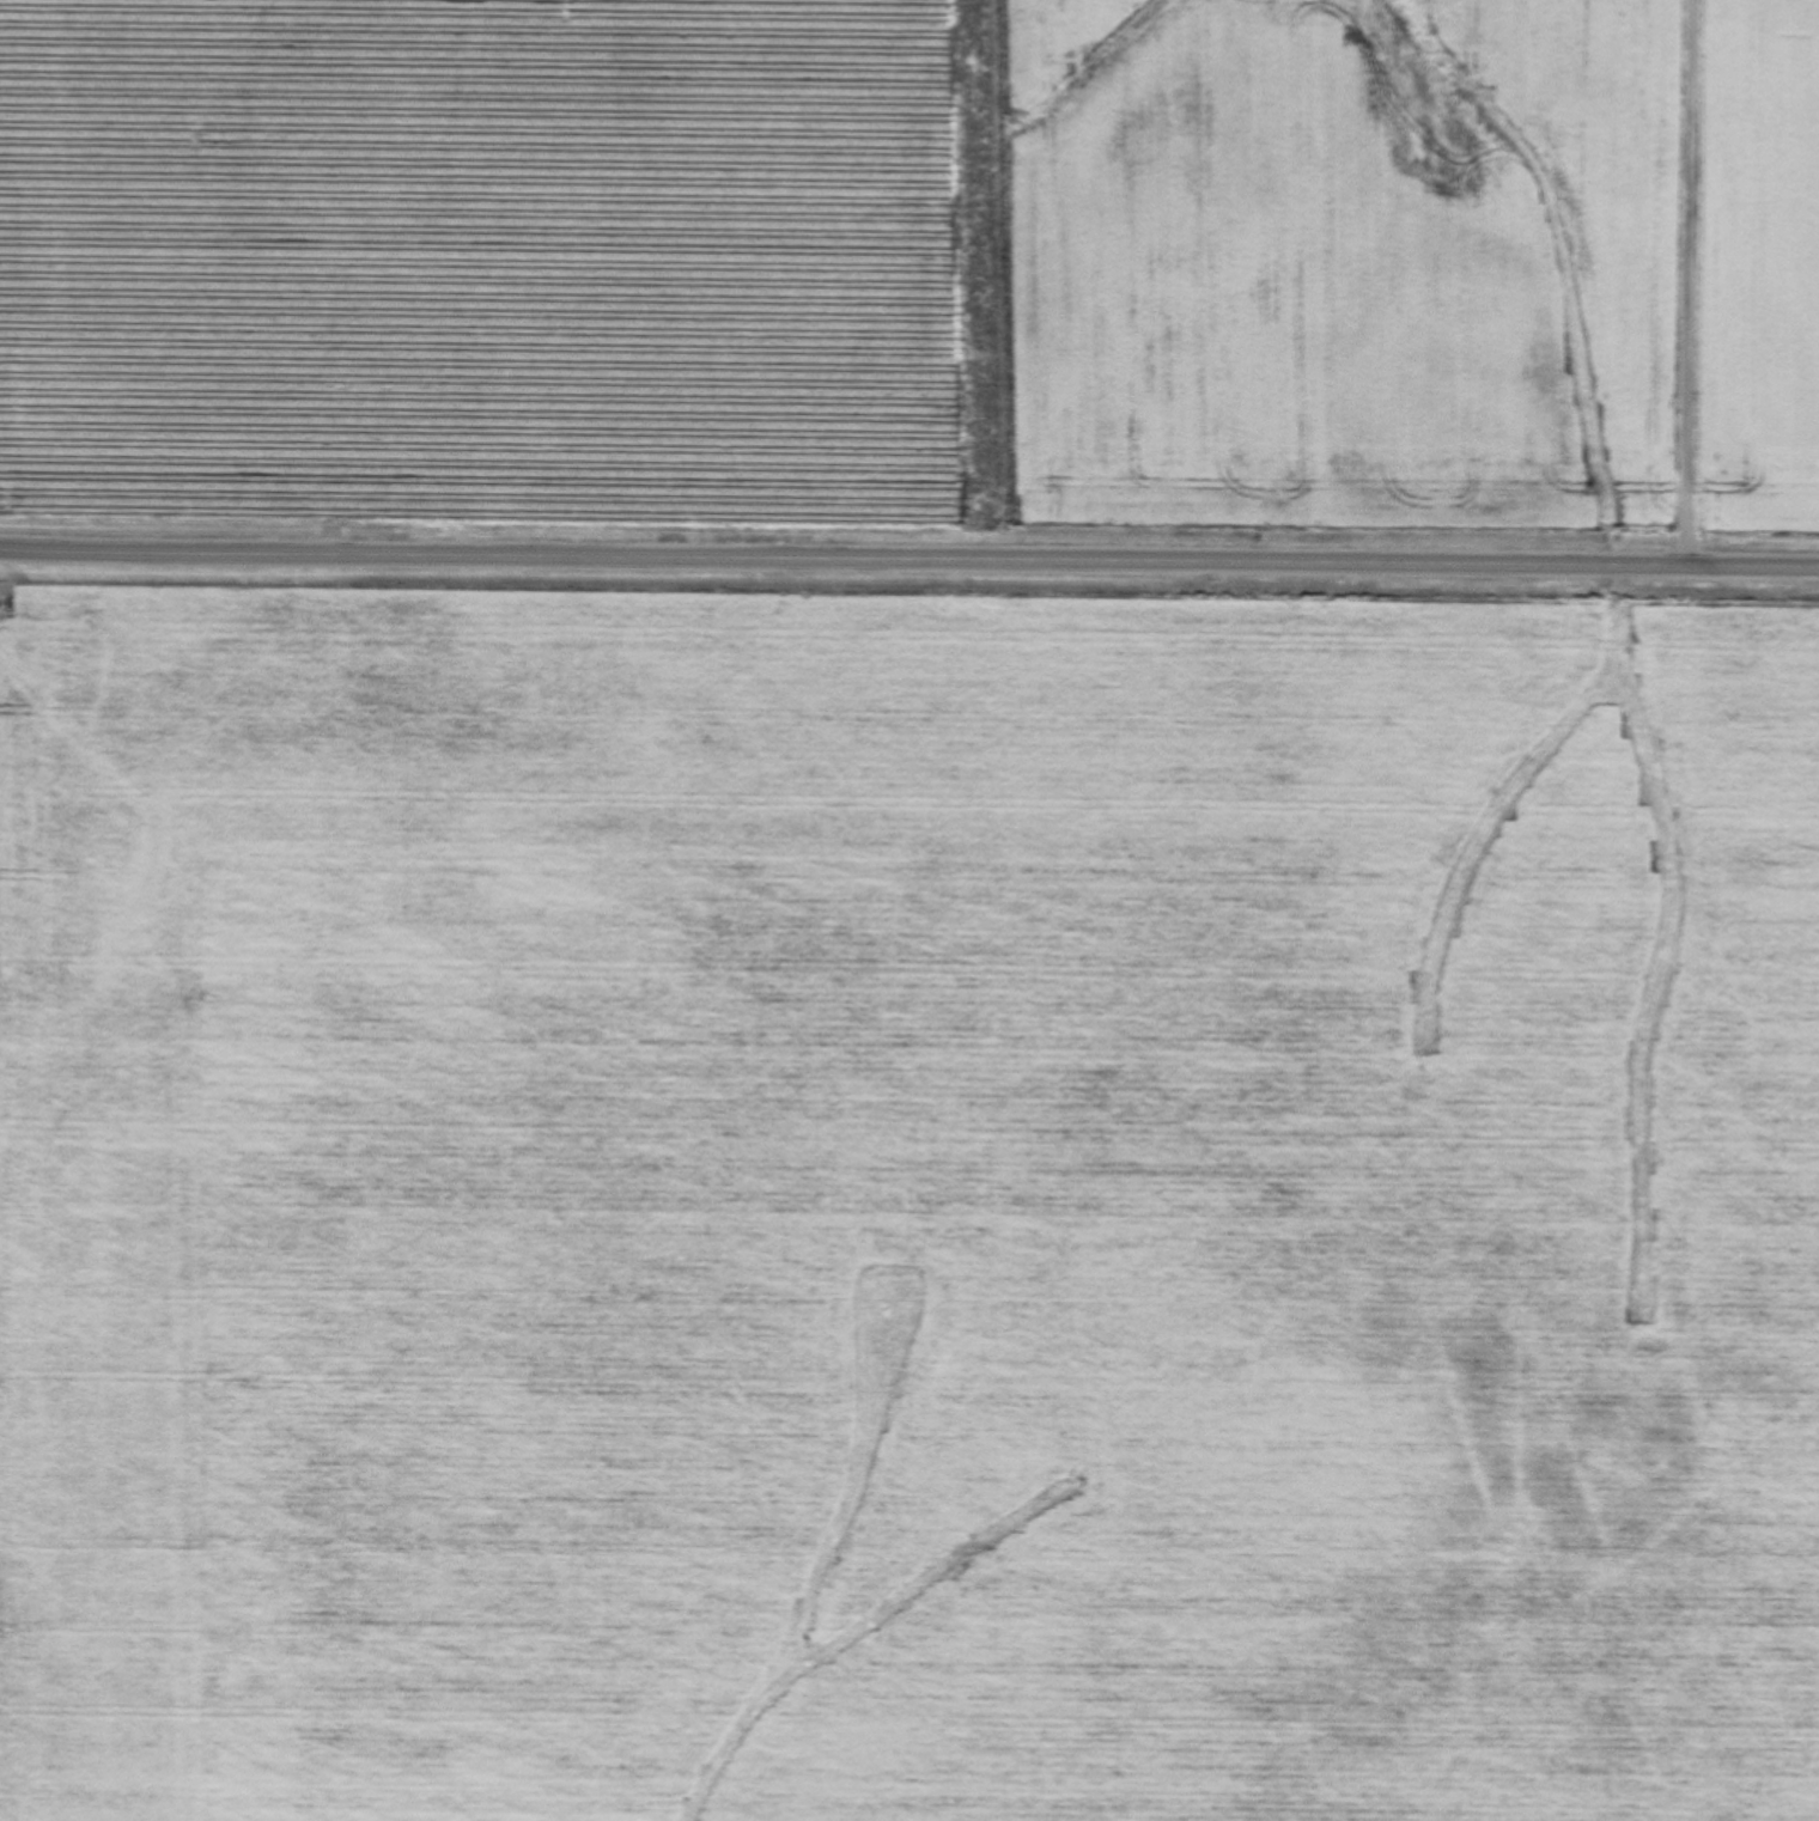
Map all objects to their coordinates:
road: (1712, 262)
road: (908, 538)

